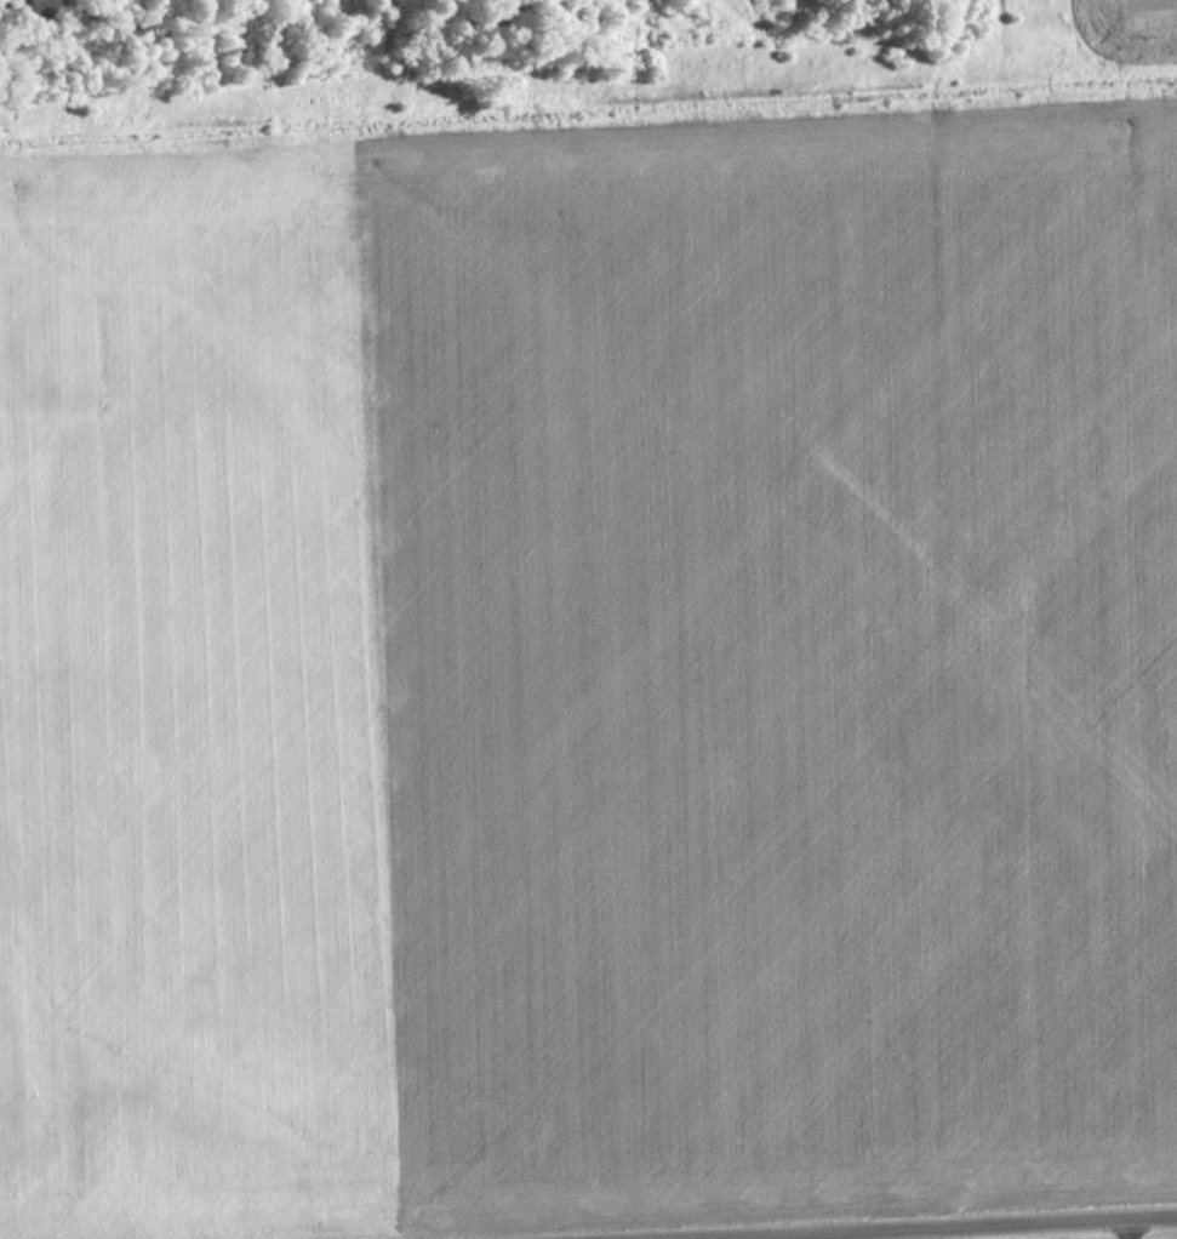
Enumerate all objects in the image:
road: (1045, 1232)

